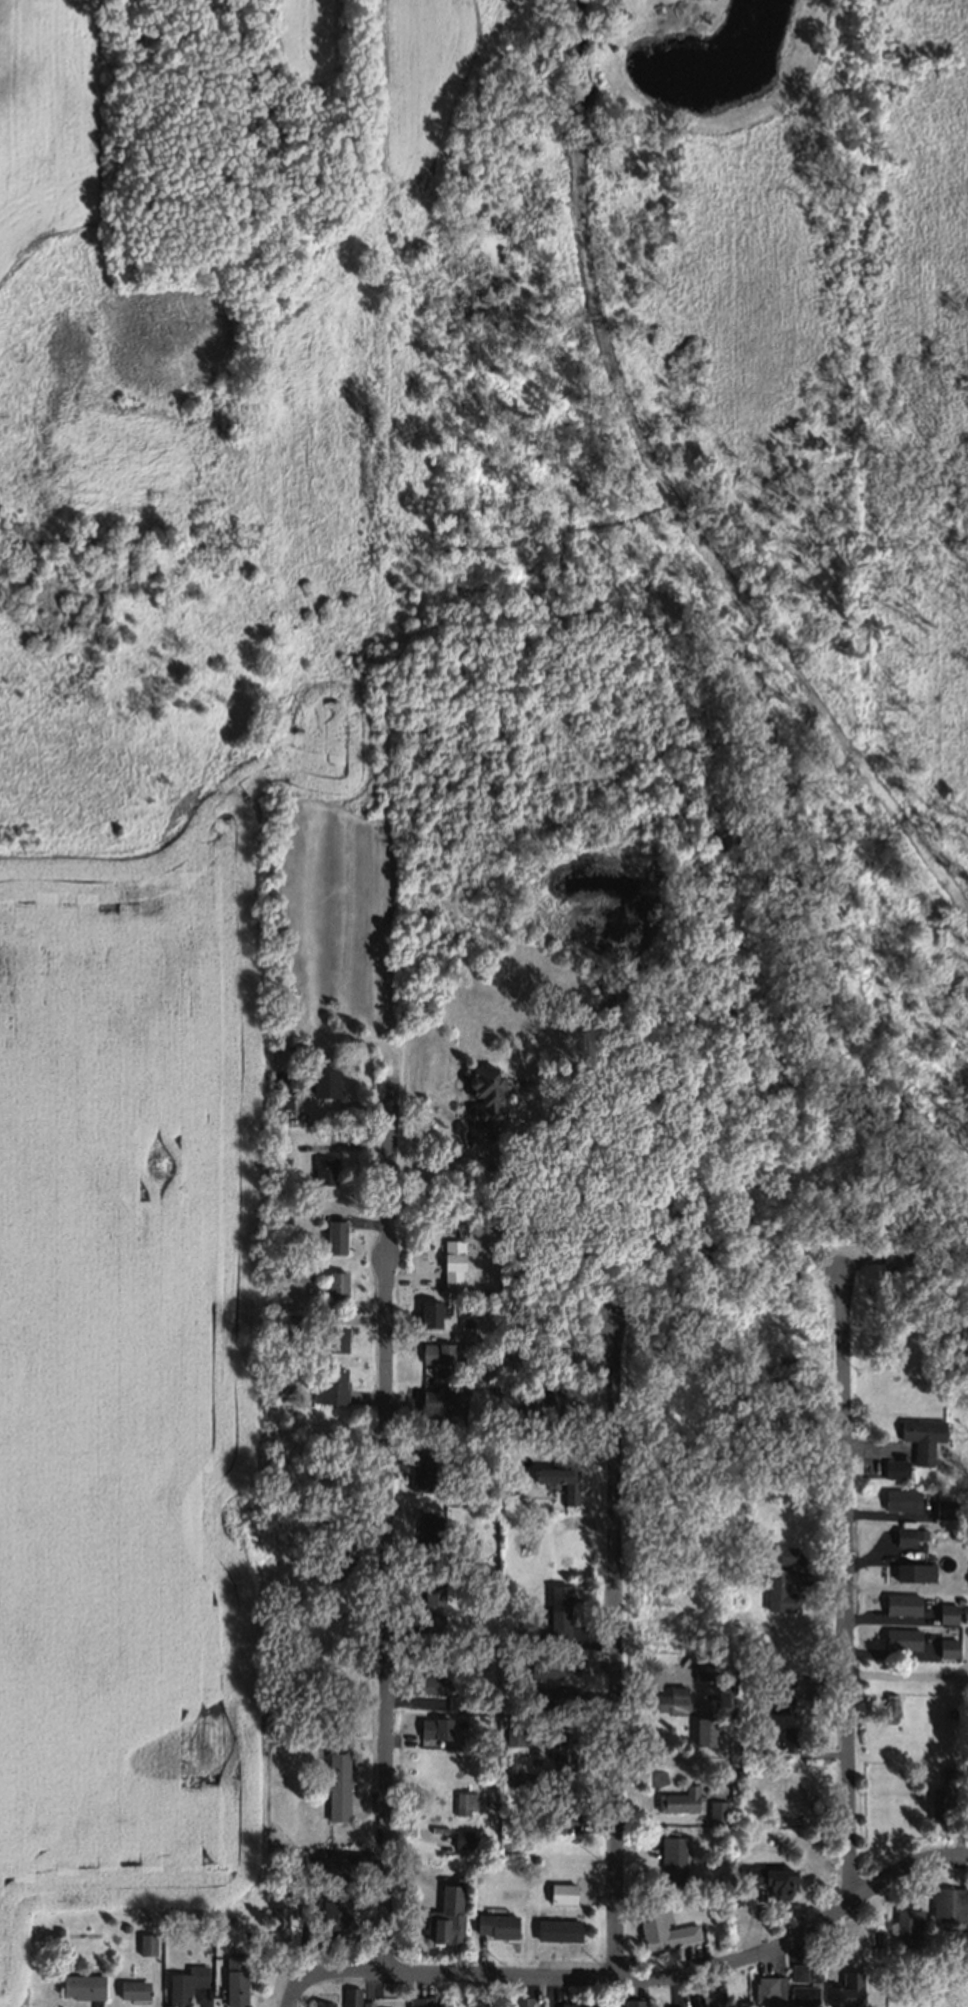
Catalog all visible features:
building: (324, 1082)
building: (280, 1091)
building: (485, 1092)
road: (462, 1149)
building: (324, 1170)
building: (335, 1235)
building: (452, 1261)
building: (335, 1283)
building: (485, 1292)
building: (429, 1312)
building: (292, 1322)
building: (336, 1337)
building: (437, 1352)
building: (331, 1385)
building: (494, 1392)
building: (442, 1401)
building: (543, 1410)
building: (921, 1436)
building: (895, 1467)
building: (428, 1472)
building: (560, 1473)
building: (508, 1493)
building: (900, 1499)
building: (943, 1508)
road: (387, 1514)
building: (326, 1527)
building: (430, 1532)
building: (908, 1535)
building: (786, 1553)
building: (342, 1556)
building: (912, 1571)
road: (846, 1587)
building: (780, 1588)
building: (431, 1593)
building: (901, 1603)
building: (559, 1610)
building: (964, 1610)
building: (946, 1611)
building: (431, 1622)
building: (657, 1635)
building: (901, 1638)
building: (946, 1647)
road: (615, 1652)
building: (550, 1665)
building: (704, 1668)
road: (909, 1677)
building: (786, 1679)
building: (429, 1683)
building: (549, 1695)
building: (663, 1698)
building: (455, 1702)
building: (781, 1703)
building: (891, 1706)
building: (501, 1709)
building: (434, 1726)
building: (704, 1730)
building: (513, 1733)
building: (789, 1738)
building: (736, 1747)
building: (562, 1750)
building: (950, 1770)
building: (736, 1771)
building: (524, 1778)
building: (337, 1785)
building: (679, 1799)
building: (464, 1802)
building: (491, 1803)
building: (937, 1804)
building: (564, 1805)
building: (716, 1810)
building: (502, 1813)
building: (462, 1838)
building: (294, 1857)
building: (672, 1857)
building: (470, 1864)
building: (330, 1868)
building: (771, 1876)
building: (284, 1890)
building: (561, 1893)
building: (336, 1894)
building: (947, 1903)
building: (304, 1908)
building: (454, 1914)
building: (336, 1916)
building: (229, 1919)
building: (206, 1920)
building: (278, 1922)
building: (496, 1924)
building: (124, 1926)
building: (905, 1926)
building: (556, 1927)
building: (340, 1929)
building: (662, 1929)
building: (57, 1930)
building: (145, 1943)
building: (826, 1951)
building: (797, 1971)
road: (633, 1978)
building: (234, 1979)
building: (184, 1983)
building: (83, 1985)
building: (132, 1988)
building: (767, 1988)
building: (805, 1989)
building: (834, 1995)
building: (350, 1996)
building: (706, 1999)
building: (427, 2000)
building: (520, 2001)
building: (589, 2002)
building: (632, 2002)
building: (740, 2003)
building: (366, 2004)
building: (566, 2004)
building: (322, 2005)
building: (665, 2006)

